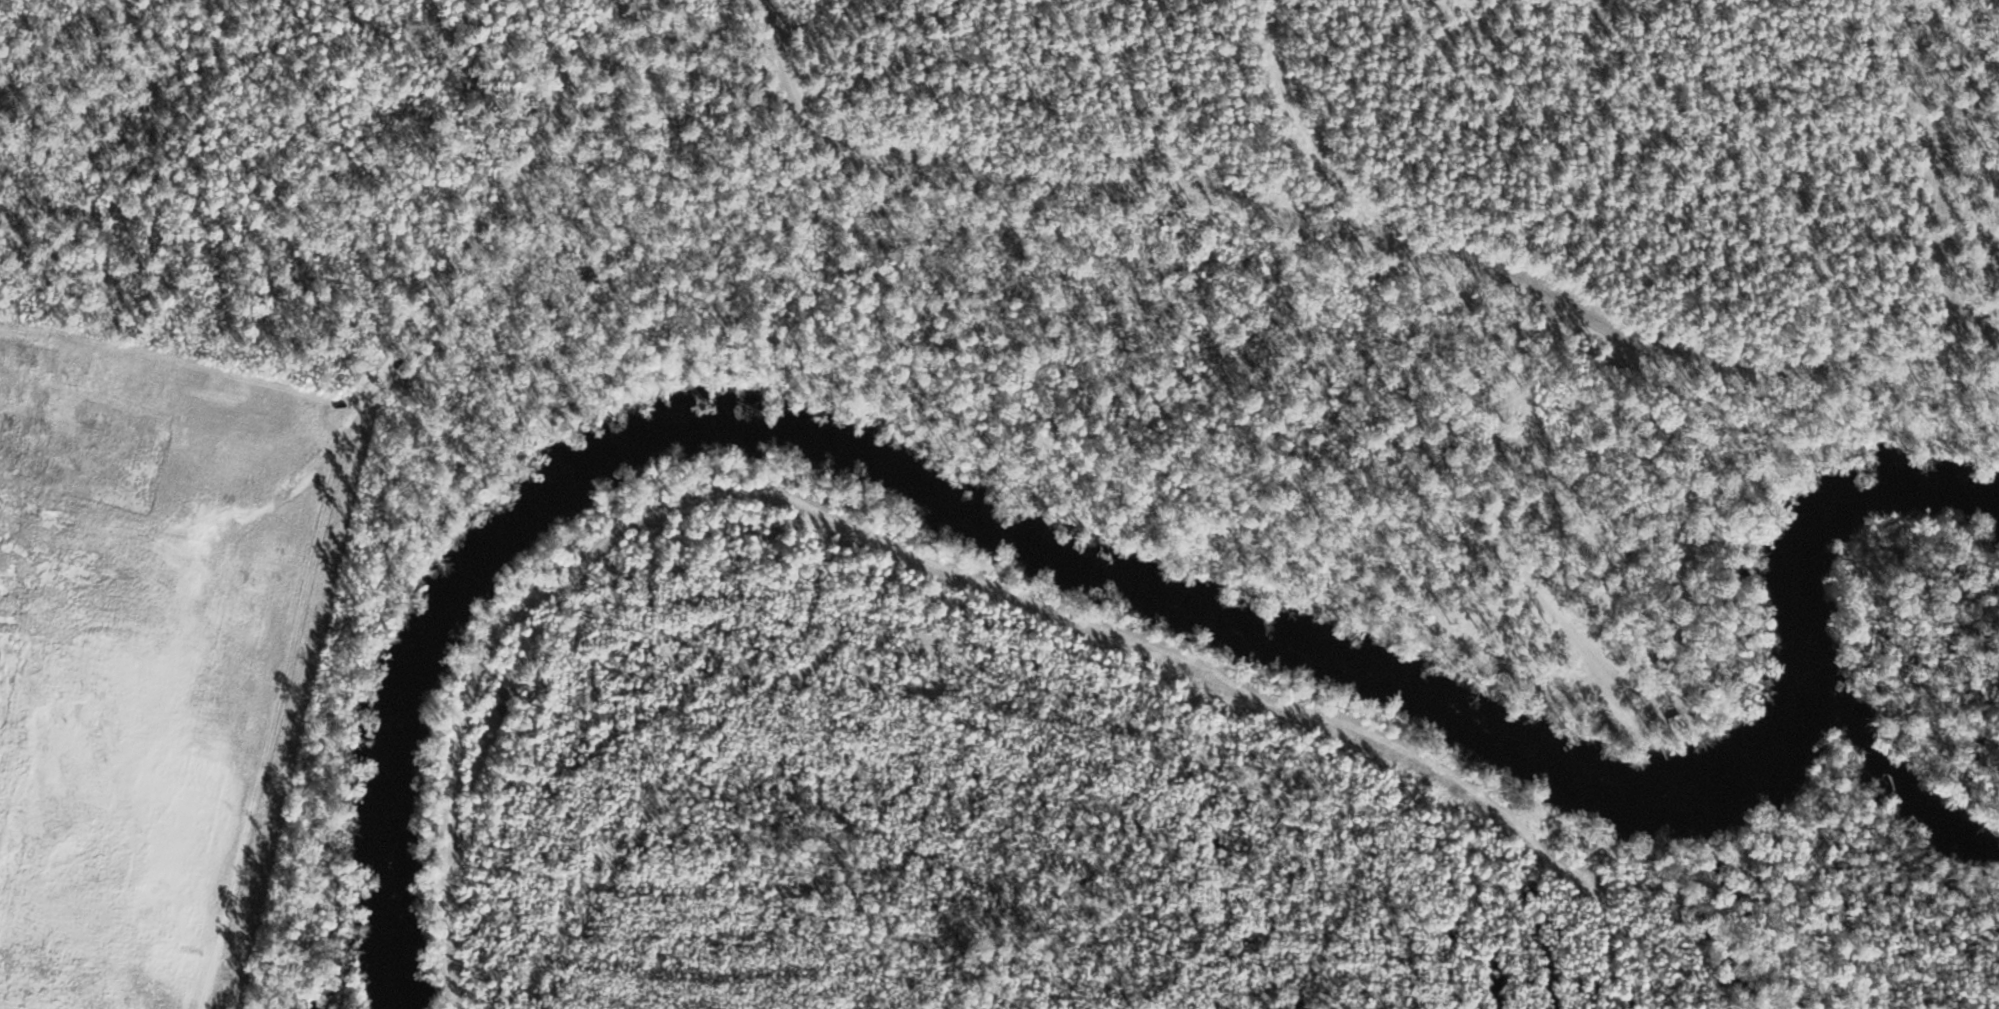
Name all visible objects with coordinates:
airport: (927, 352)
river: (1096, 567)
building: (1545, 698)

